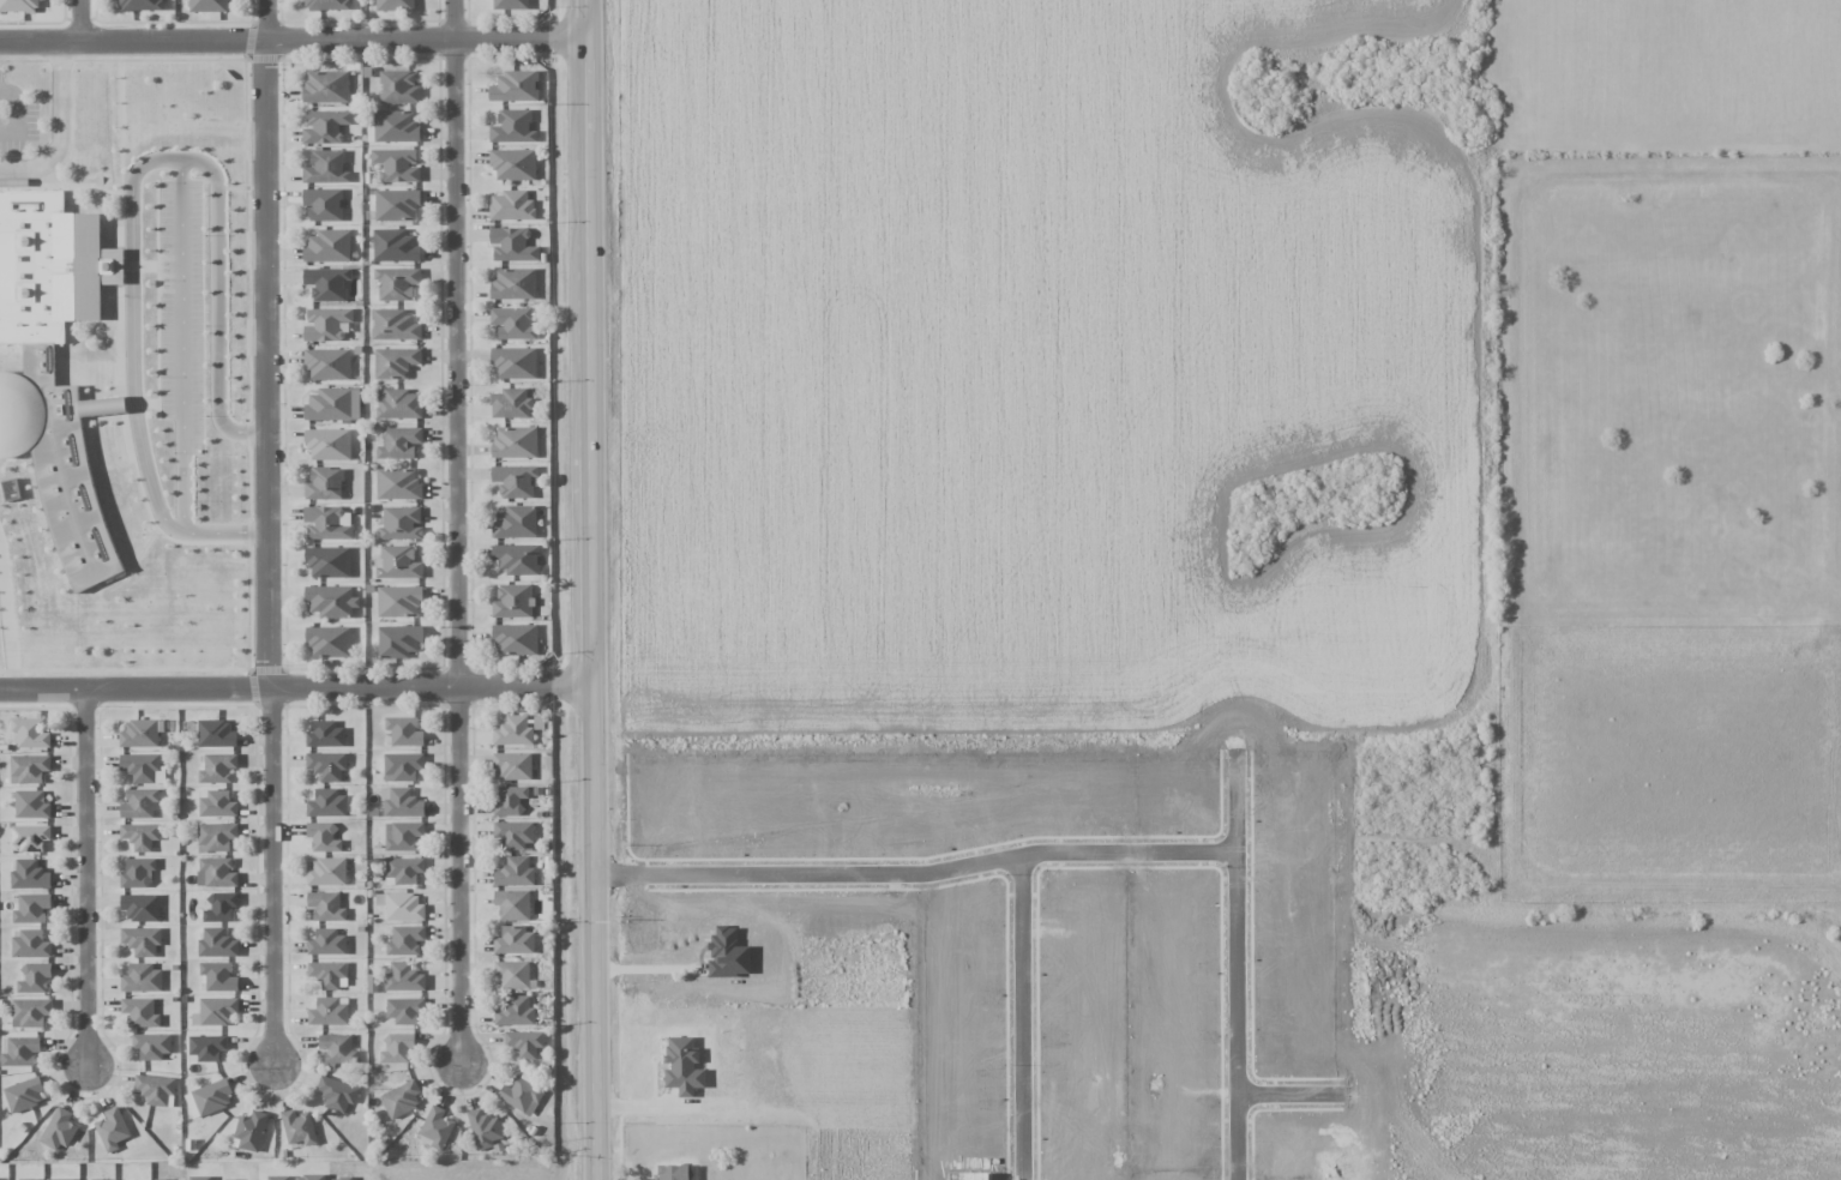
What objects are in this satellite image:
building: (511, 4)
building: (139, 5)
building: (325, 5)
building: (395, 5)
building: (18, 6)
building: (207, 6)
road: (78, 20)
road: (291, 38)
building: (398, 86)
building: (515, 86)
building: (325, 88)
building: (324, 126)
building: (395, 126)
building: (512, 126)
road: (61, 128)
building: (512, 163)
building: (396, 164)
building: (326, 167)
building: (323, 204)
building: (396, 204)
building: (512, 205)
road: (132, 210)
building: (511, 245)
building: (327, 246)
building: (395, 246)
building: (326, 283)
building: (396, 283)
building: (513, 284)
parking lot: (179, 309)
building: (513, 323)
building: (325, 324)
building: (393, 325)
road: (181, 345)
building: (395, 362)
building: (513, 362)
building: (327, 363)
building: (52, 367)
building: (398, 403)
building: (510, 403)
building: (332, 404)
building: (396, 441)
building: (515, 442)
building: (327, 444)
building: (515, 481)
building: (324, 483)
building: (397, 484)
building: (515, 522)
building: (327, 523)
building: (401, 523)
road: (267, 532)
road: (455, 532)
building: (516, 559)
building: (329, 561)
building: (397, 562)
road: (591, 589)
building: (331, 601)
building: (398, 601)
building: (512, 601)
building: (515, 639)
building: (329, 640)
building: (398, 640)
road: (296, 690)
building: (403, 730)
building: (513, 732)
building: (30, 733)
building: (139, 733)
building: (217, 733)
building: (325, 735)
building: (326, 765)
building: (512, 765)
building: (402, 766)
building: (28, 767)
building: (142, 767)
building: (217, 767)
building: (509, 800)
building: (401, 802)
building: (139, 803)
building: (216, 803)
building: (326, 803)
building: (31, 805)
building: (513, 833)
building: (139, 835)
building: (215, 836)
building: (403, 836)
building: (30, 837)
building: (323, 837)
building: (403, 871)
building: (137, 872)
building: (216, 872)
building: (326, 872)
building: (515, 872)
building: (29, 875)
road: (84, 875)
building: (512, 904)
building: (219, 905)
building: (325, 905)
building: (401, 905)
building: (31, 908)
building: (140, 908)
building: (142, 940)
building: (515, 940)
building: (405, 941)
building: (327, 943)
building: (30, 944)
building: (216, 944)
building: (326, 973)
building: (512, 974)
building: (218, 976)
building: (34, 977)
building: (403, 977)
building: (140, 979)
building: (215, 1011)
building: (405, 1011)
building: (29, 1012)
building: (139, 1012)
building: (329, 1012)
building: (515, 1012)
building: (524, 1043)
building: (152, 1046)
building: (206, 1048)
building: (337, 1048)
building: (397, 1048)
building: (20, 1052)
building: (682, 1066)
building: (155, 1089)
building: (336, 1092)
building: (23, 1094)
building: (521, 1095)
building: (207, 1097)
building: (401, 1100)
road: (648, 1109)
building: (297, 1127)
building: (437, 1127)
building: (483, 1127)
building: (59, 1130)
building: (112, 1130)
building: (249, 1131)
building: (676, 1172)

